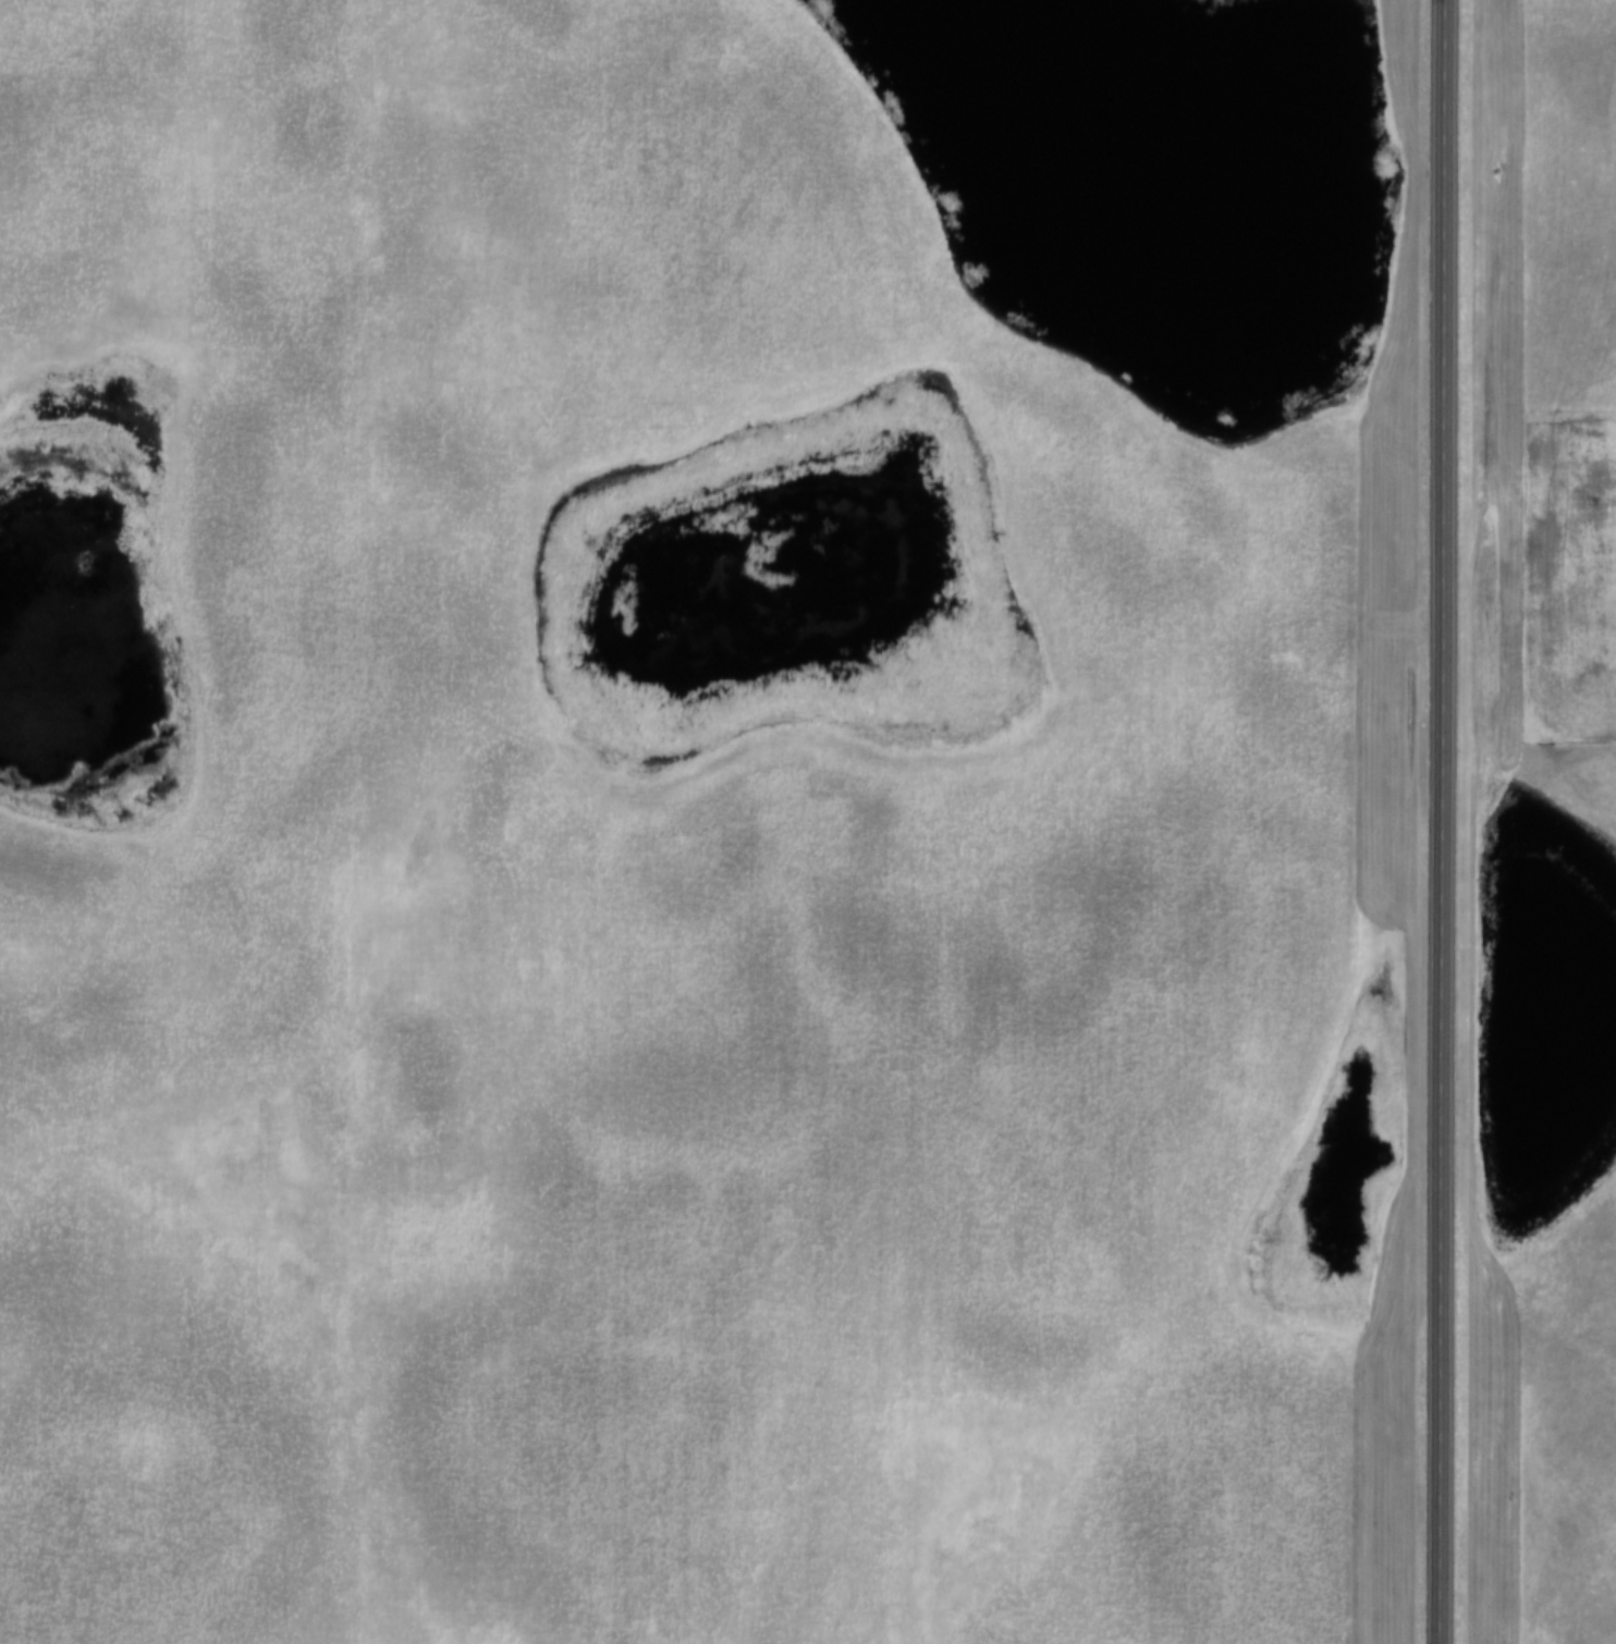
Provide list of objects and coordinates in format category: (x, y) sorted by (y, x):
road: (1441, 822)

